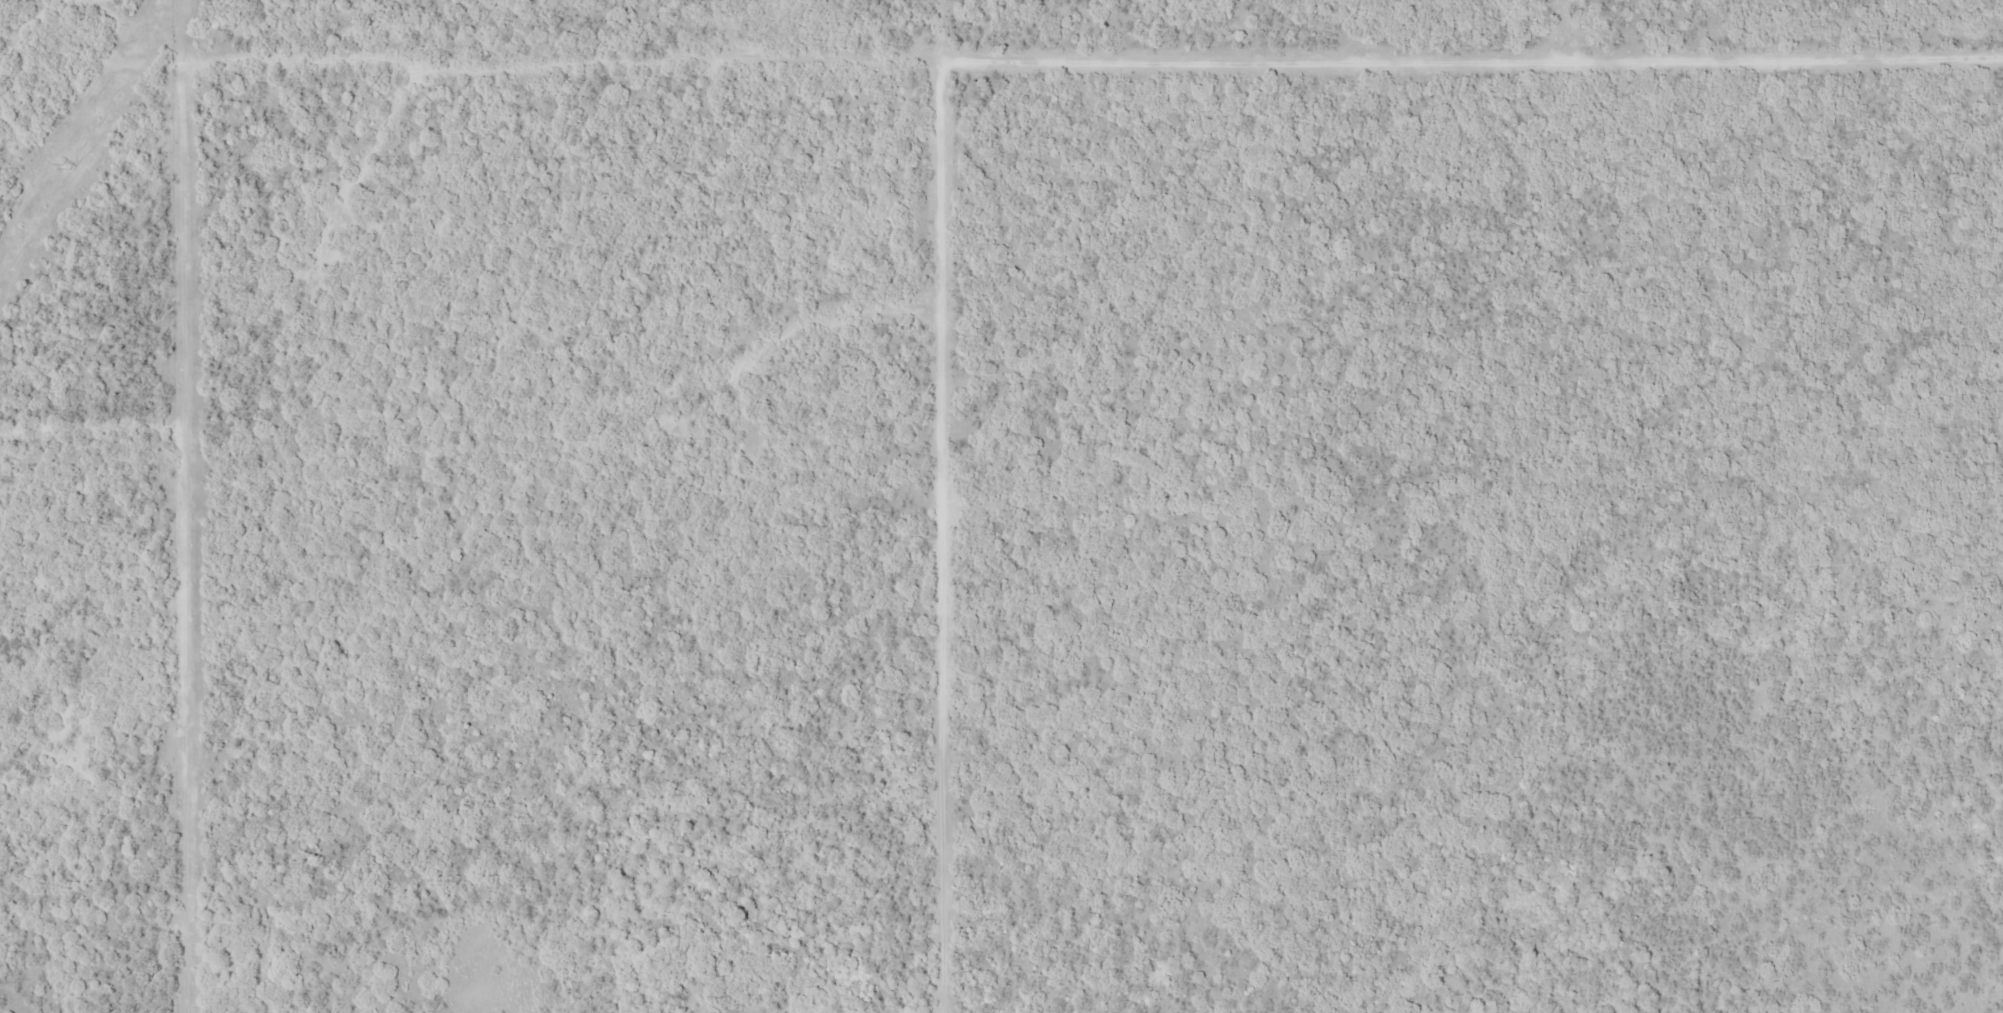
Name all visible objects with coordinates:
road: (1469, 81)
power tower: (63, 166)
road: (936, 554)

